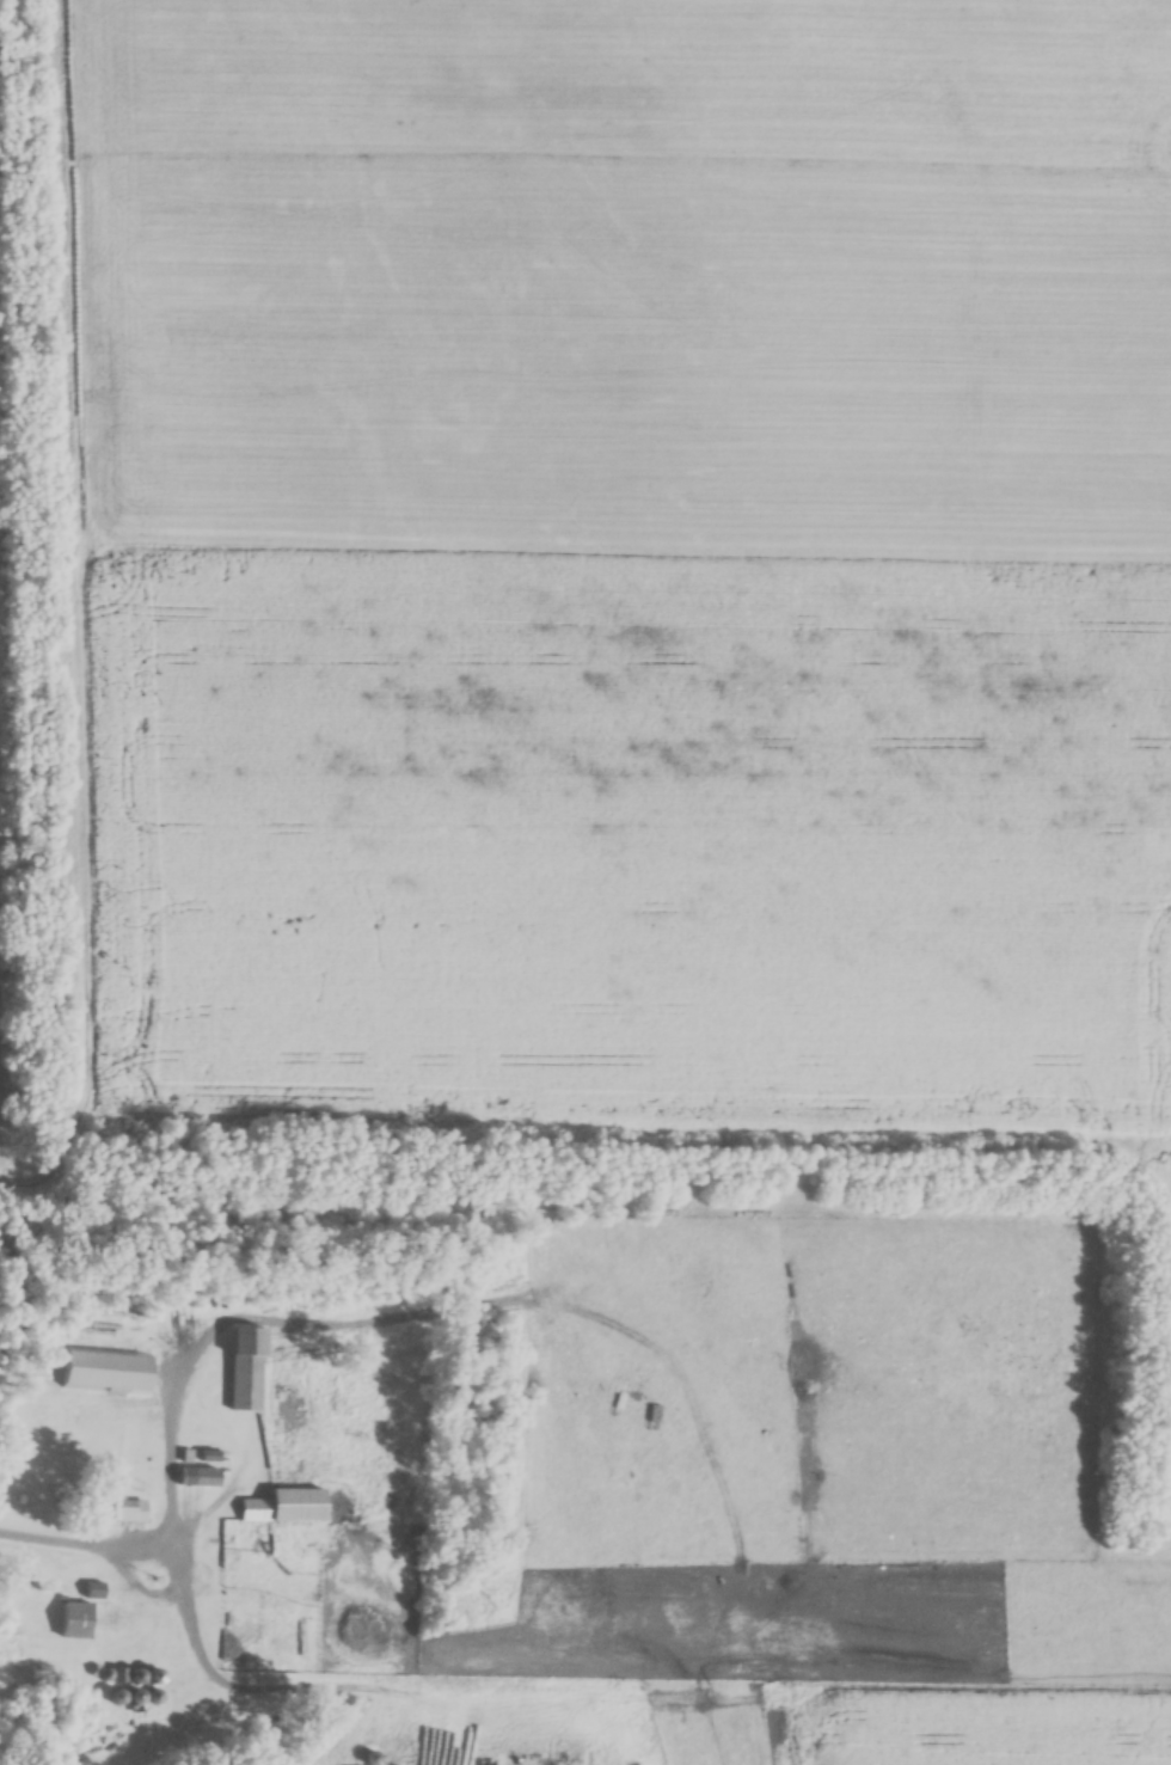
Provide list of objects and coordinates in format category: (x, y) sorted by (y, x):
building: (249, 1369)
building: (108, 1372)
building: (678, 1420)
building: (202, 1478)
building: (288, 1507)
building: (125, 1510)
road: (50, 1537)
road: (159, 1542)
building: (245, 1611)
building: (79, 1620)
building: (374, 1758)

